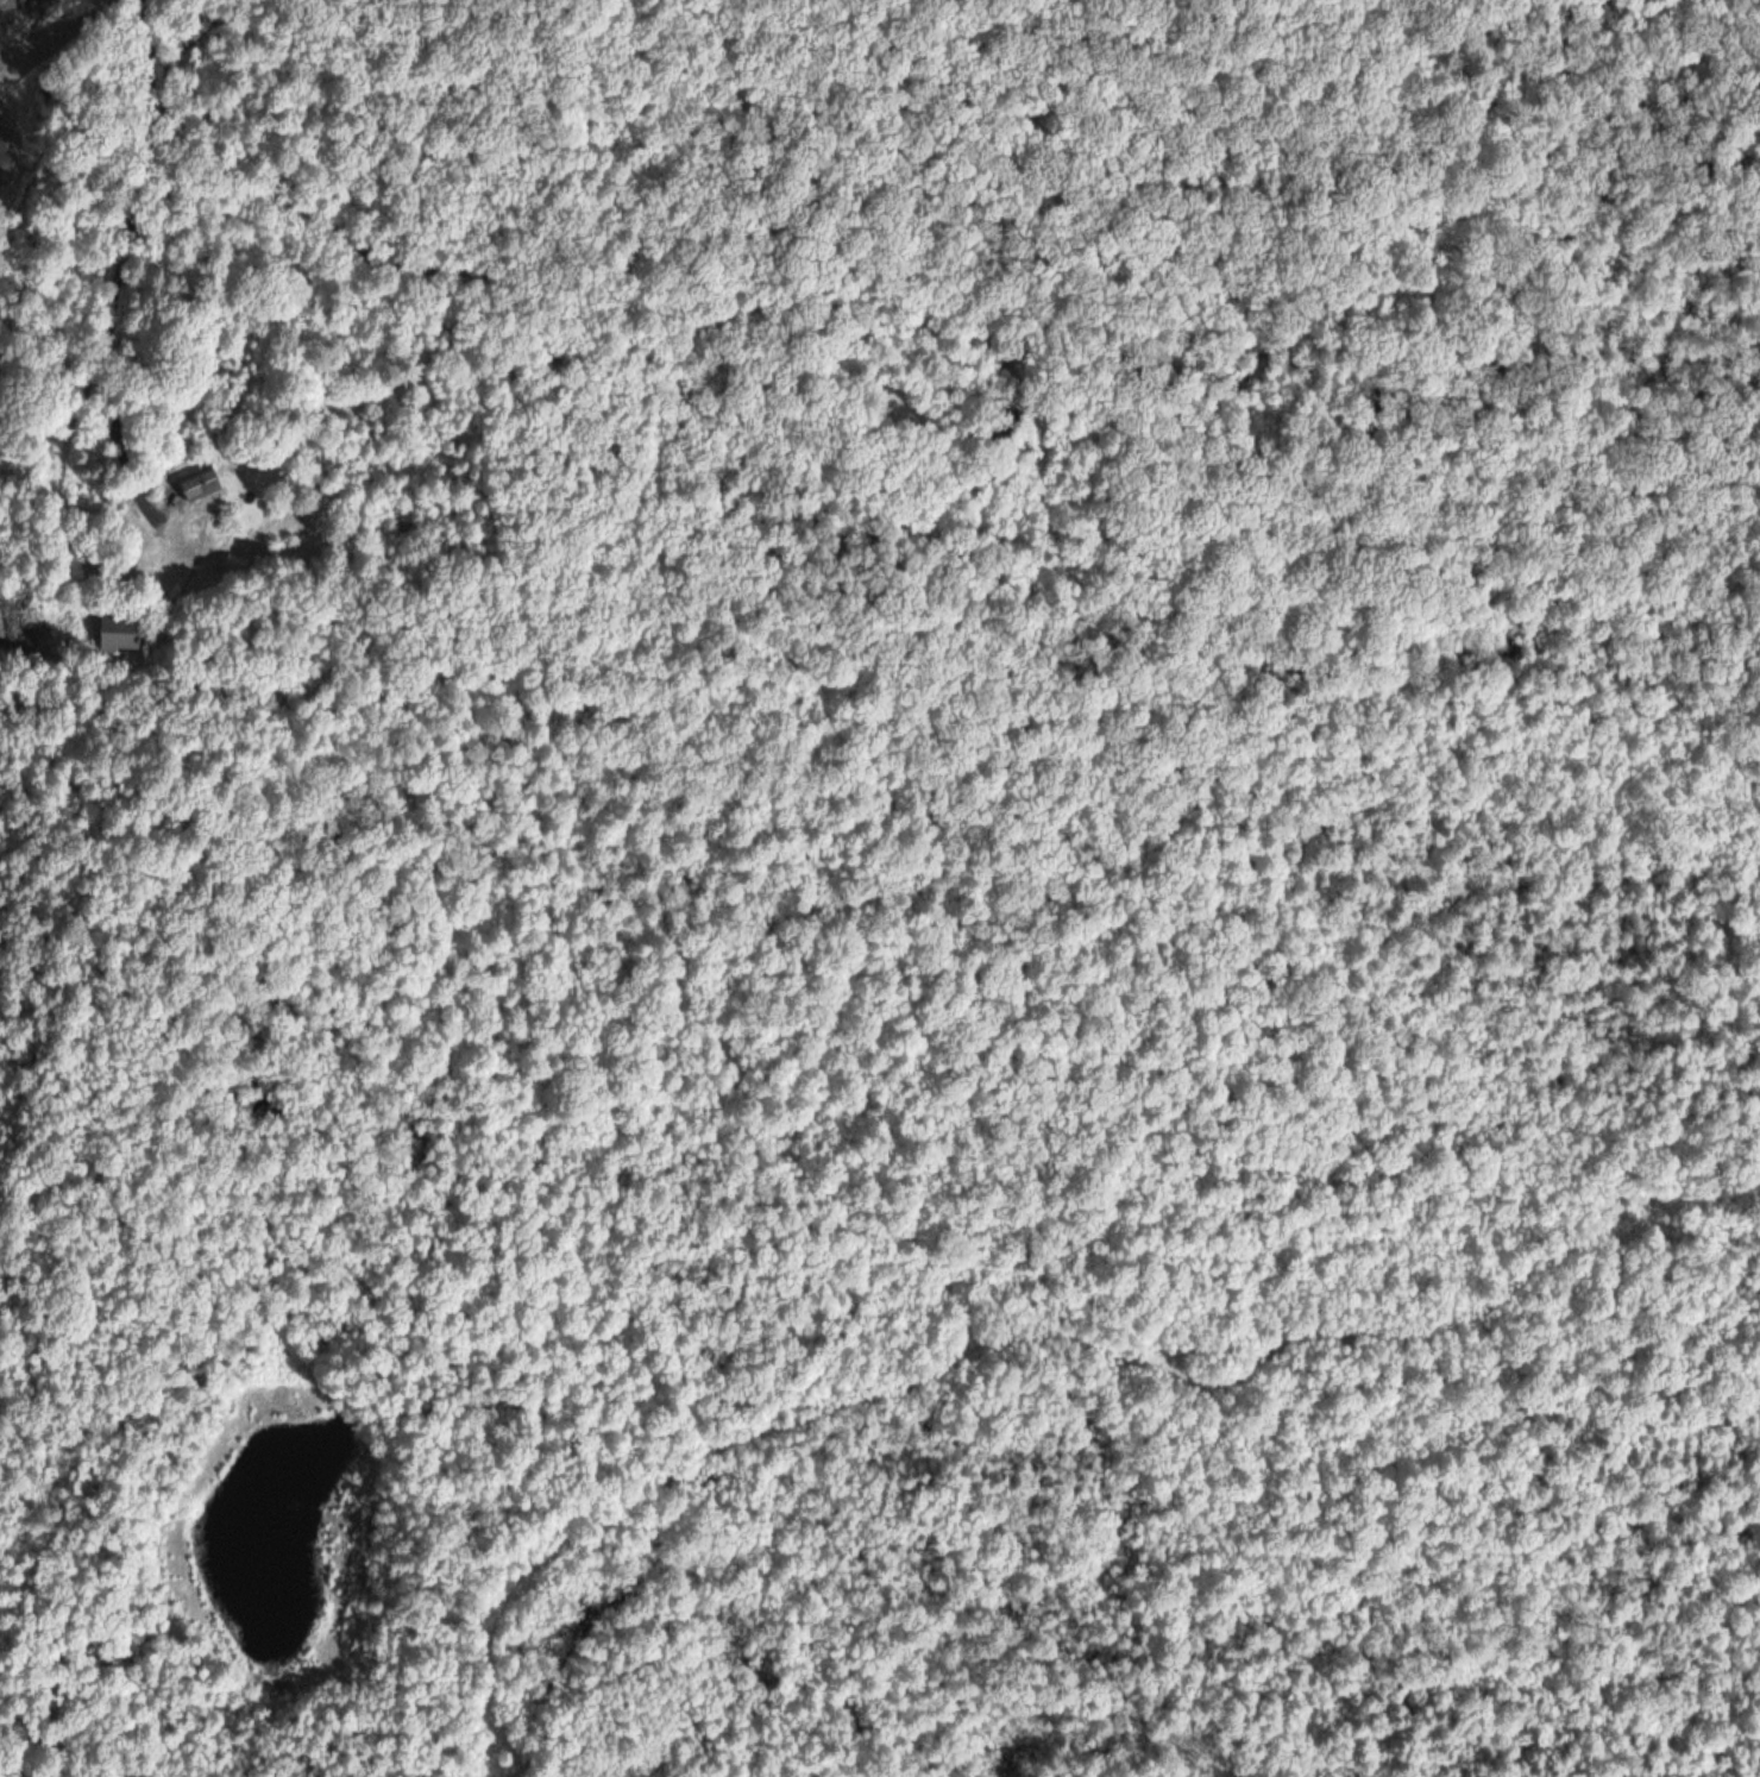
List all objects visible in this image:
road: (8, 143)
building: (205, 484)
building: (118, 629)

